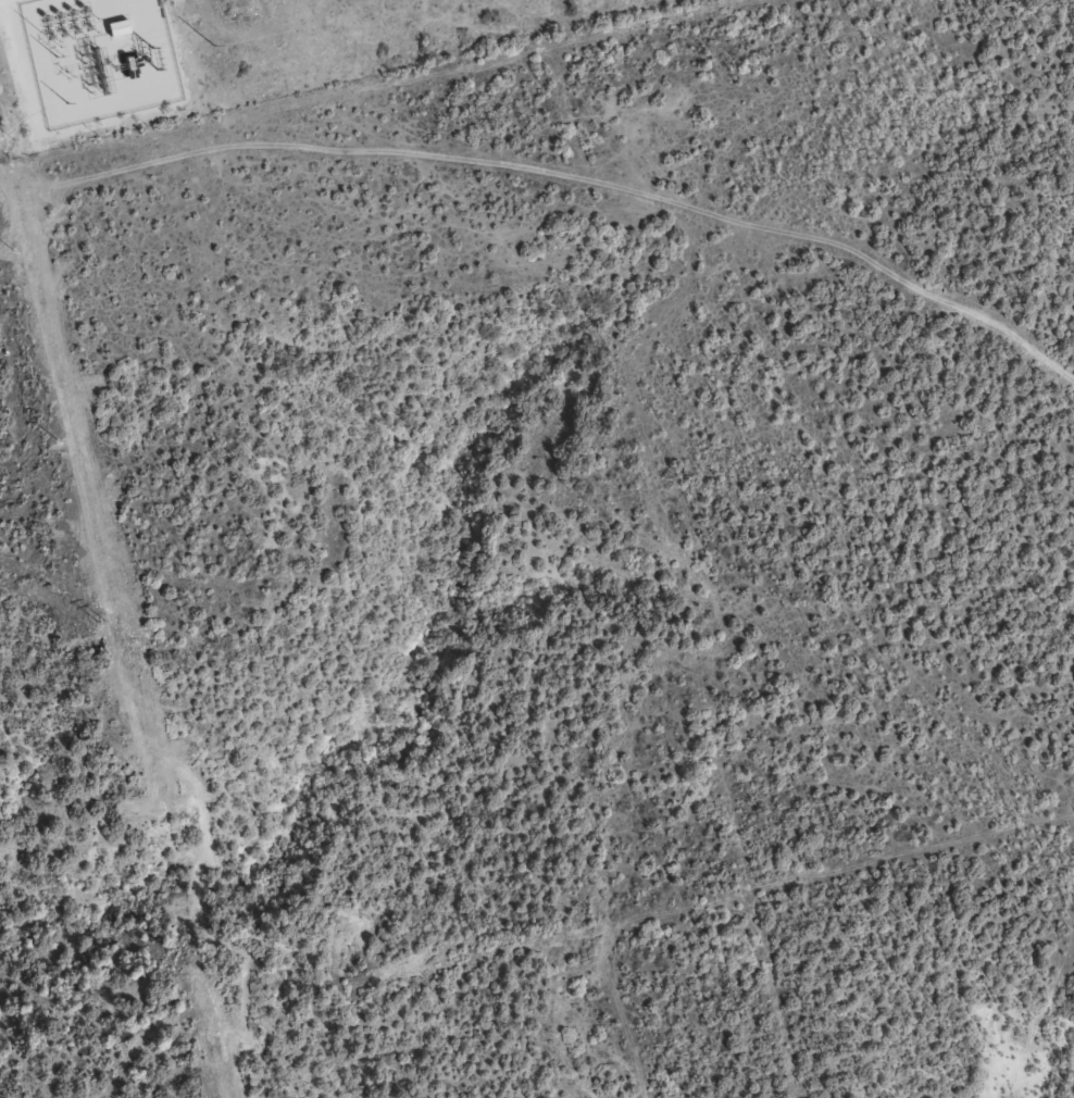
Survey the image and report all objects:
power tower: (212, 43)
power substation: (98, 58)
power tower: (152, 59)

